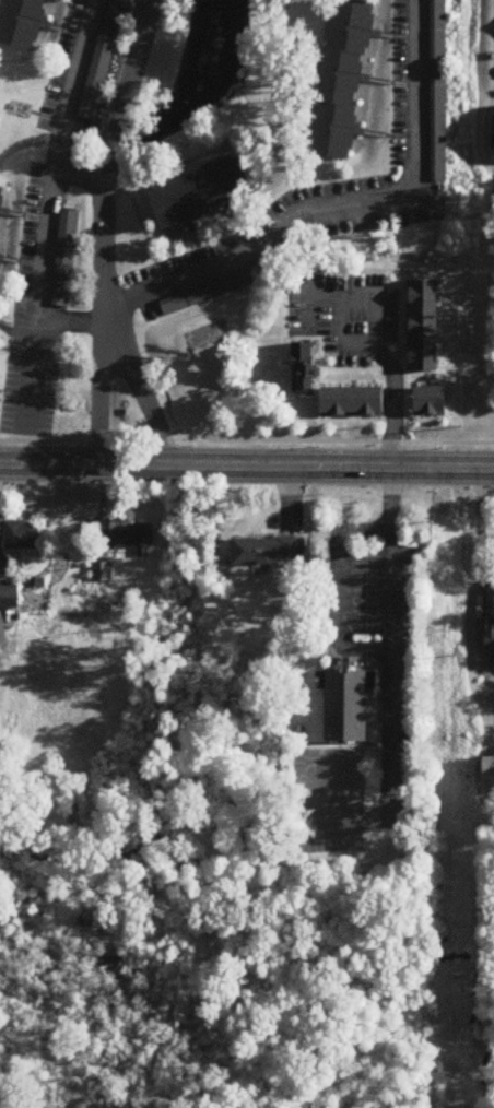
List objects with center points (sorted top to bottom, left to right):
building: (25, 22)
parking lot: (102, 56)
building: (103, 61)
building: (346, 76)
parking lot: (435, 86)
building: (438, 91)
building: (493, 133)
road: (107, 160)
road: (82, 172)
building: (207, 193)
road: (306, 212)
road: (48, 214)
building: (3, 215)
parking lot: (61, 250)
building: (66, 260)
parking lot: (204, 286)
road: (326, 297)
road: (308, 304)
parking lot: (342, 311)
building: (314, 313)
building: (422, 323)
road: (375, 329)
road: (400, 362)
building: (306, 368)
road: (330, 368)
road: (139, 392)
road: (101, 394)
building: (427, 399)
building: (351, 400)
road: (426, 417)
road: (322, 419)
road: (396, 419)
road: (245, 439)
road: (372, 452)
road: (247, 463)
building: (22, 537)
building: (133, 540)
building: (269, 551)
road: (340, 586)
parking lot: (365, 590)
building: (9, 597)
building: (490, 632)
road: (344, 655)
road: (390, 660)
road: (378, 686)
building: (344, 702)
road: (377, 724)
building: (296, 732)
road: (327, 742)
road: (338, 749)
building: (491, 770)
parking lot: (326, 798)
road: (354, 841)
park: (96, 985)

